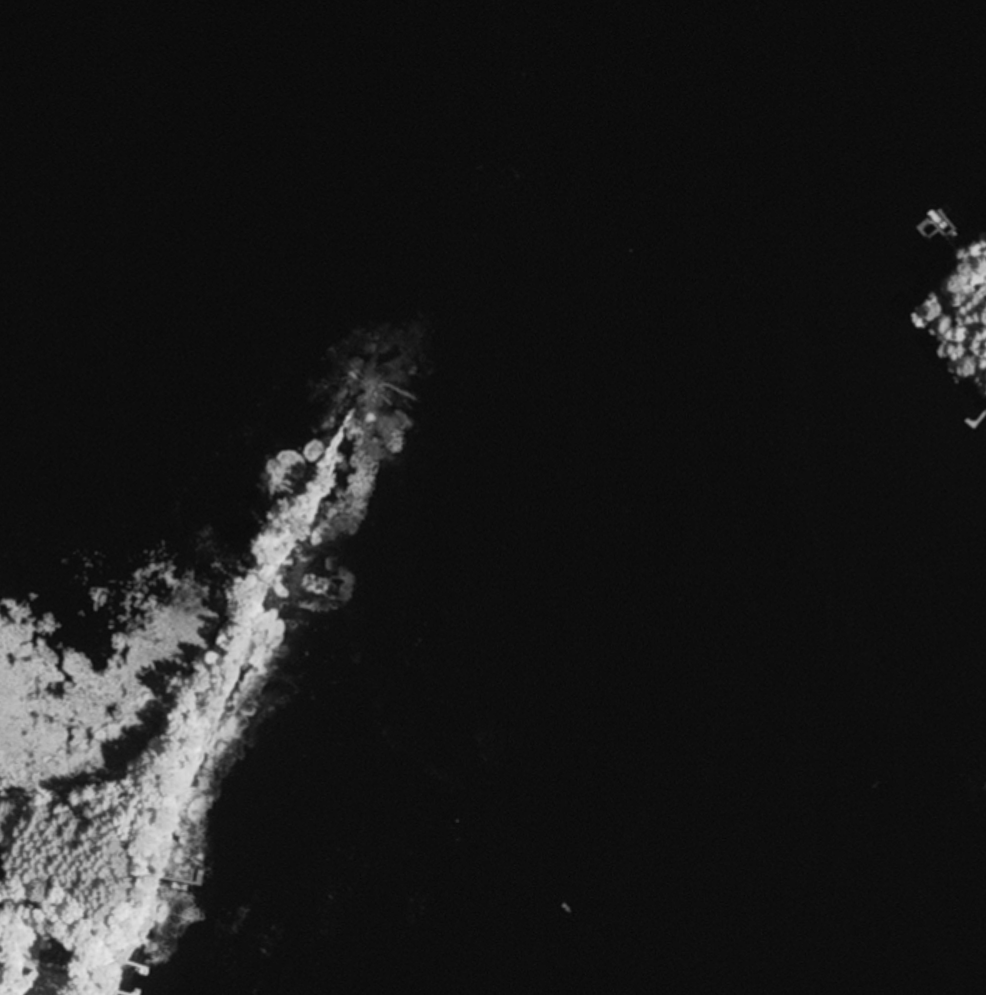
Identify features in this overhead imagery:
building: (0, 854)

